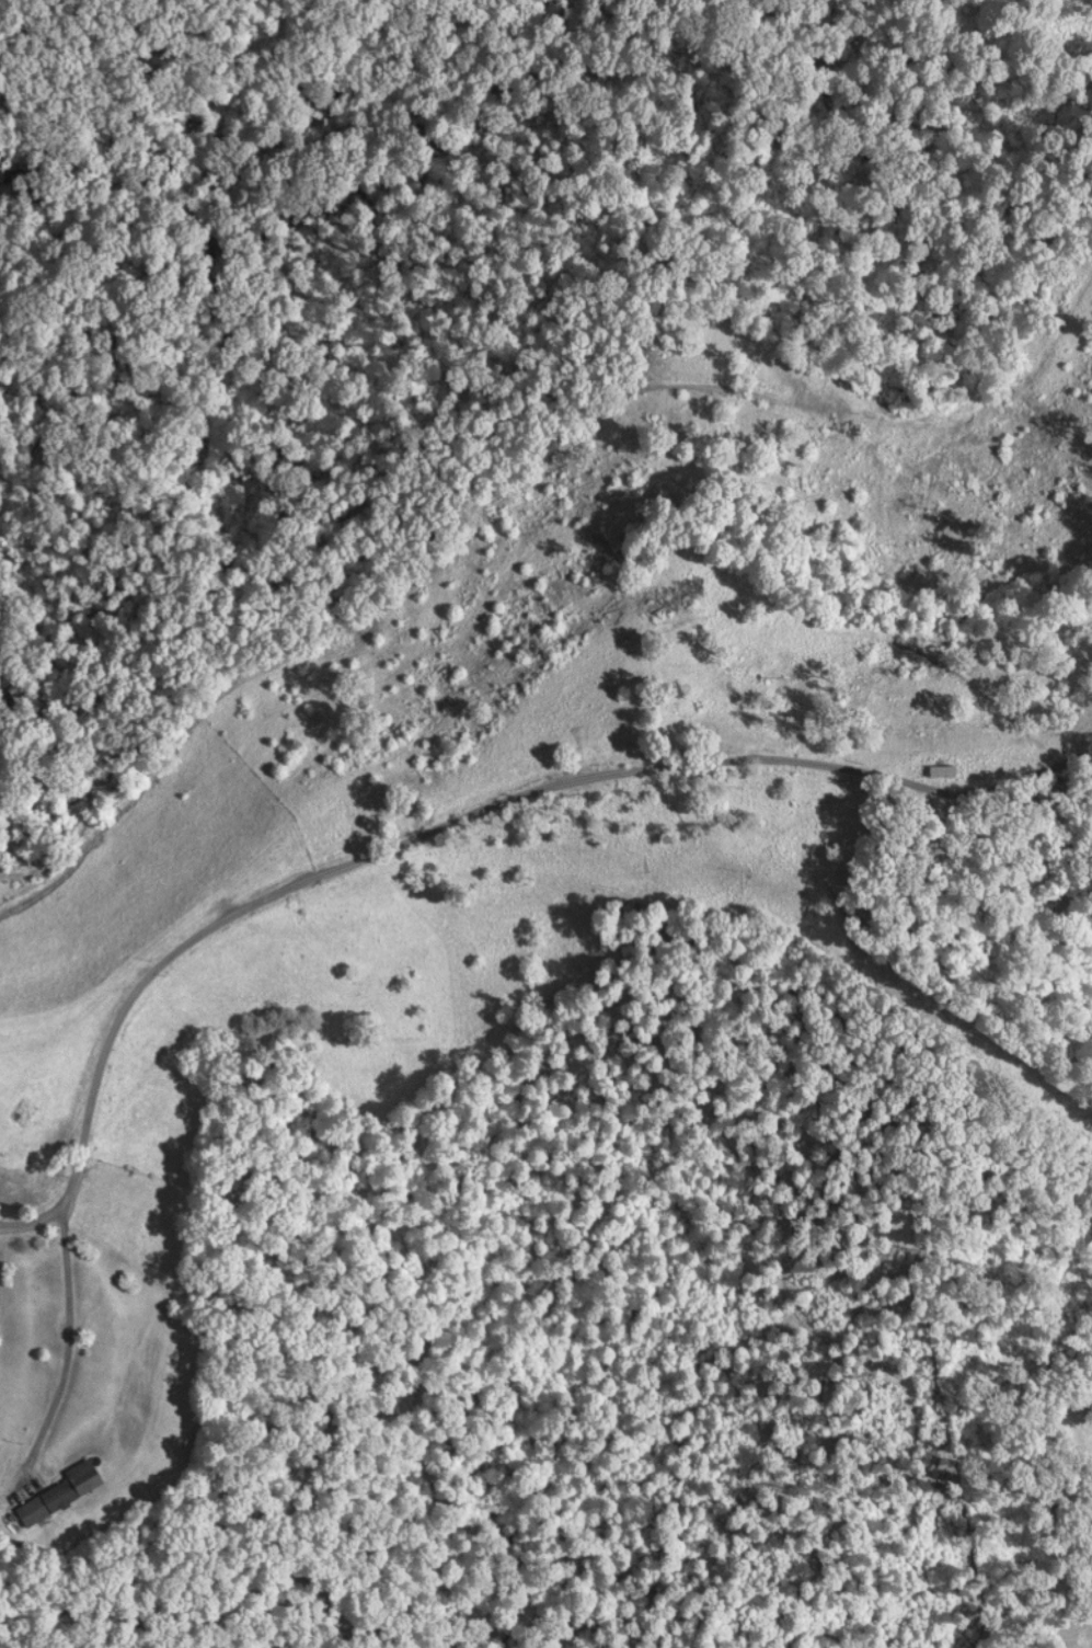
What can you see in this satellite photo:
building: (943, 768)
road: (464, 804)
building: (64, 1490)

